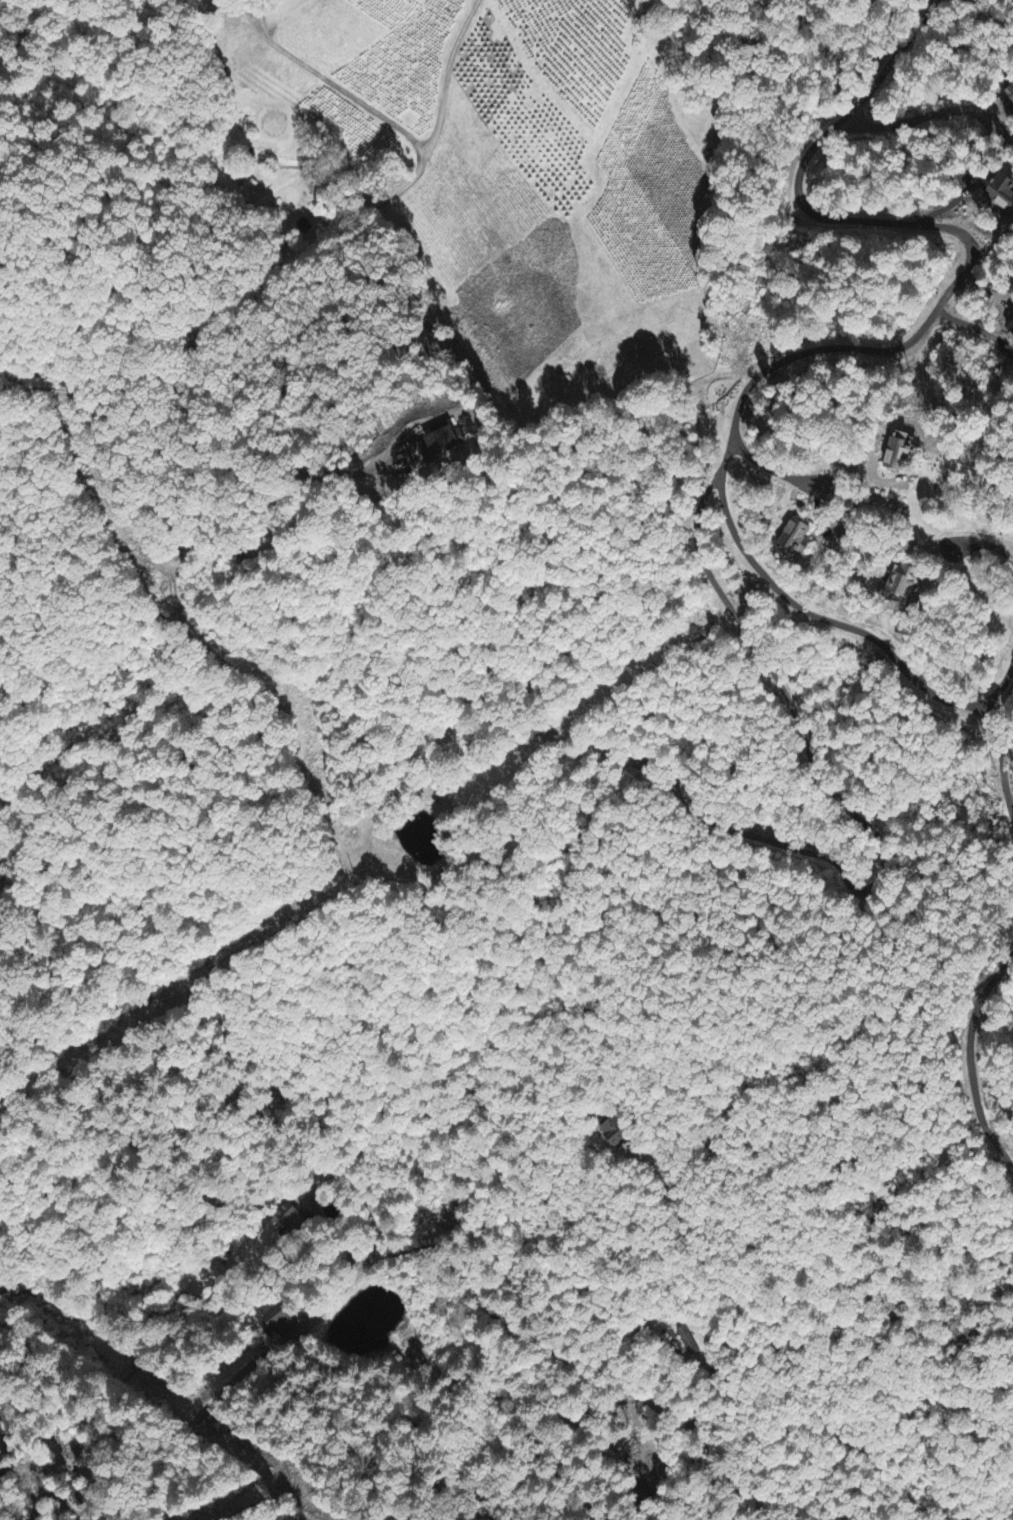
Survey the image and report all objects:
road: (330, 83)
road: (79, 94)
building: (1010, 96)
road: (922, 118)
building: (1002, 195)
road: (949, 207)
road: (95, 247)
road: (283, 284)
road: (985, 293)
road: (850, 350)
road: (296, 392)
building: (900, 454)
road: (771, 471)
building: (797, 538)
road: (985, 545)
building: (906, 583)
road: (803, 851)
road: (443, 959)
building: (614, 1134)
road: (357, 1181)
building: (287, 1220)
building: (278, 1322)
road: (579, 1369)
road: (125, 1445)

